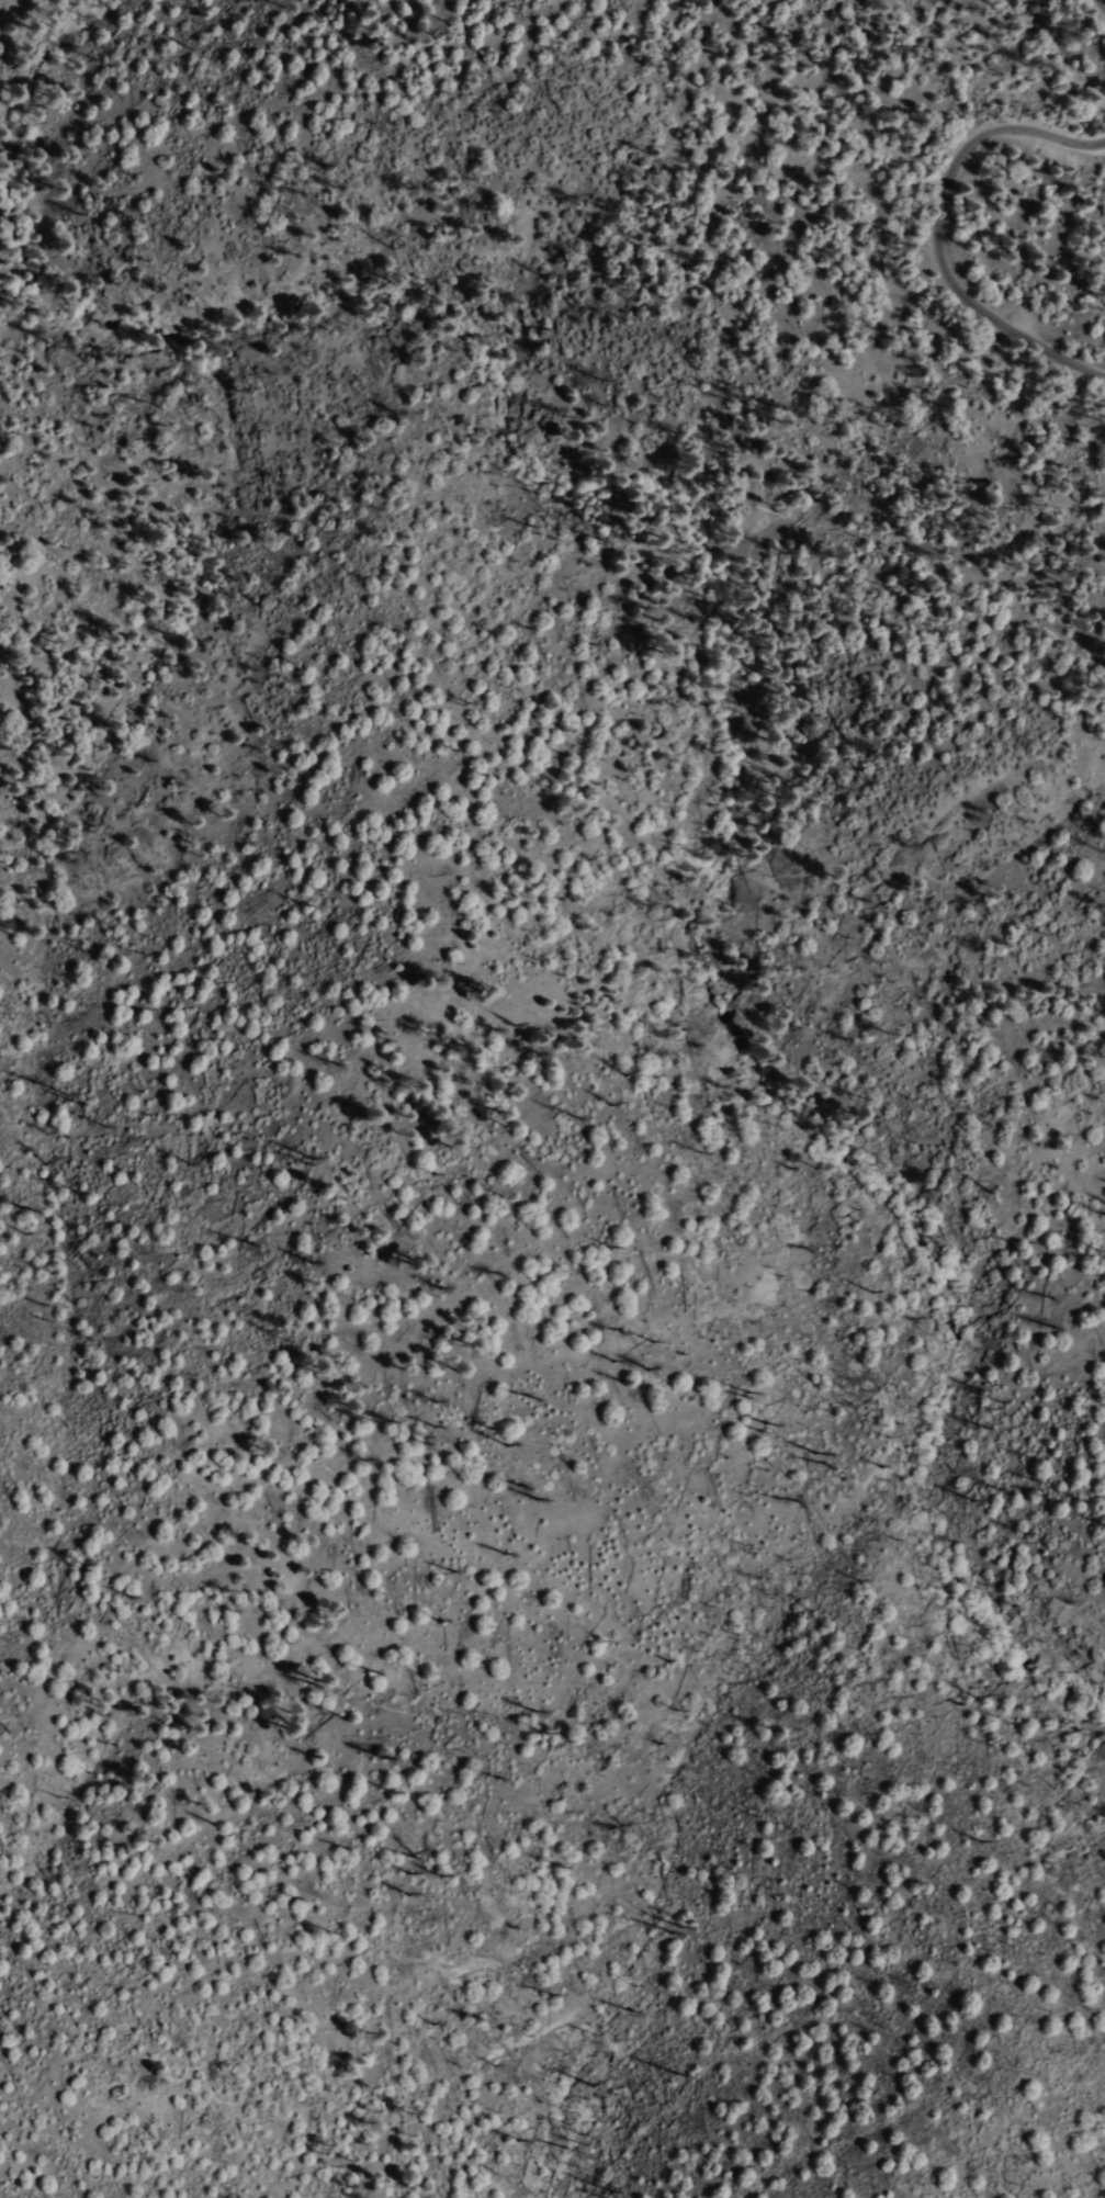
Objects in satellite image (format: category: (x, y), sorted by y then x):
road: (1102, 3)
road: (943, 230)

